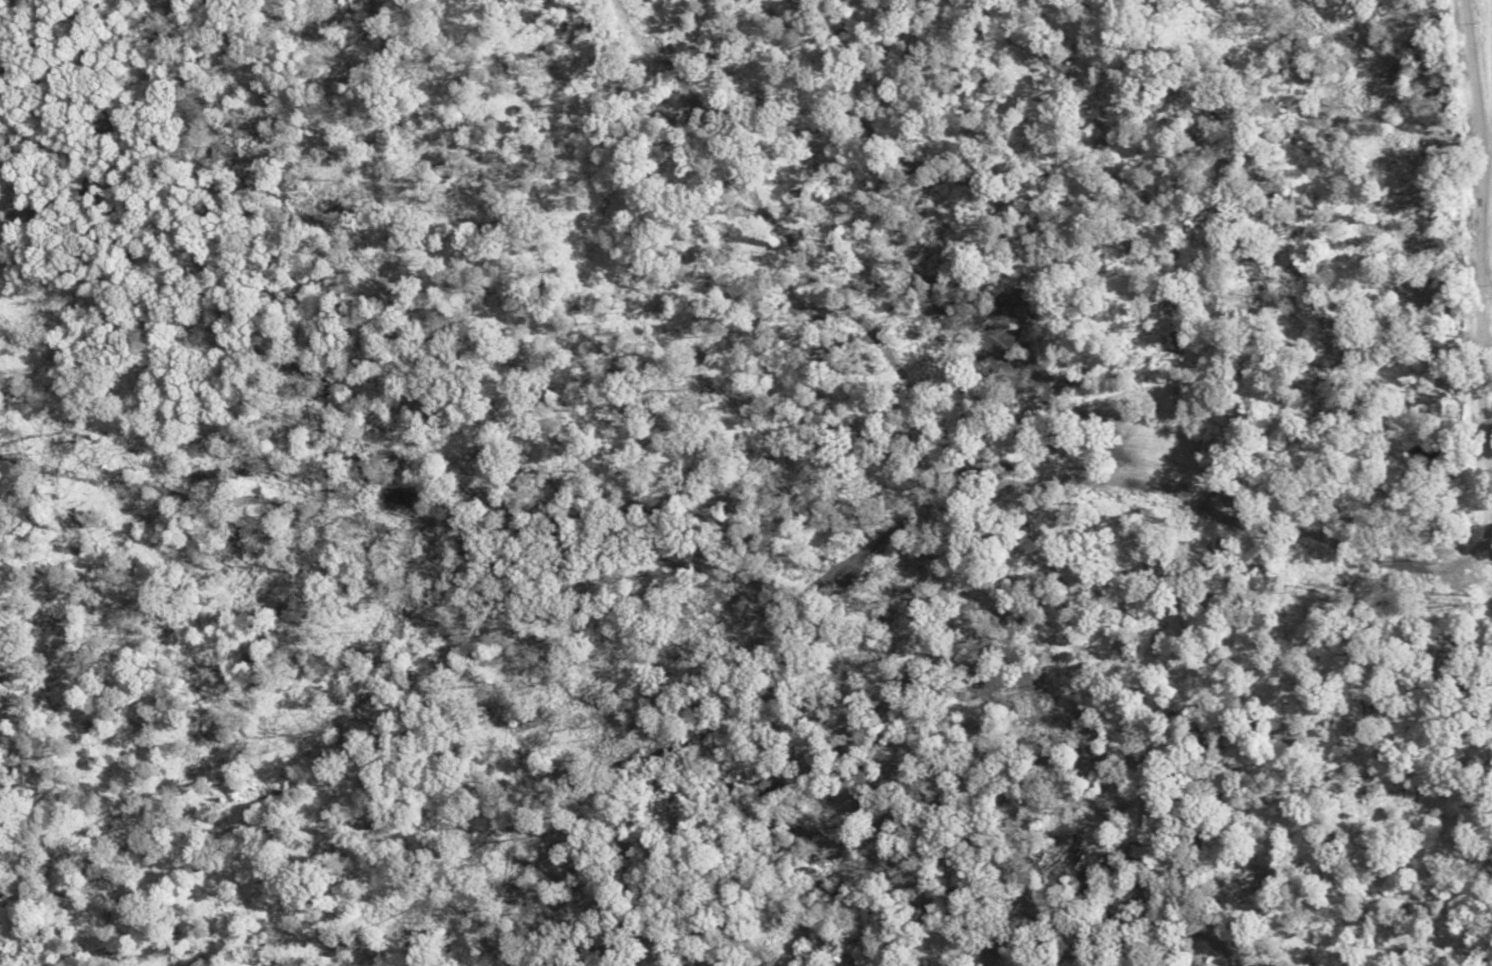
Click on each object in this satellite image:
crop: (1486, 116)
road: (1478, 239)
road: (1485, 343)

